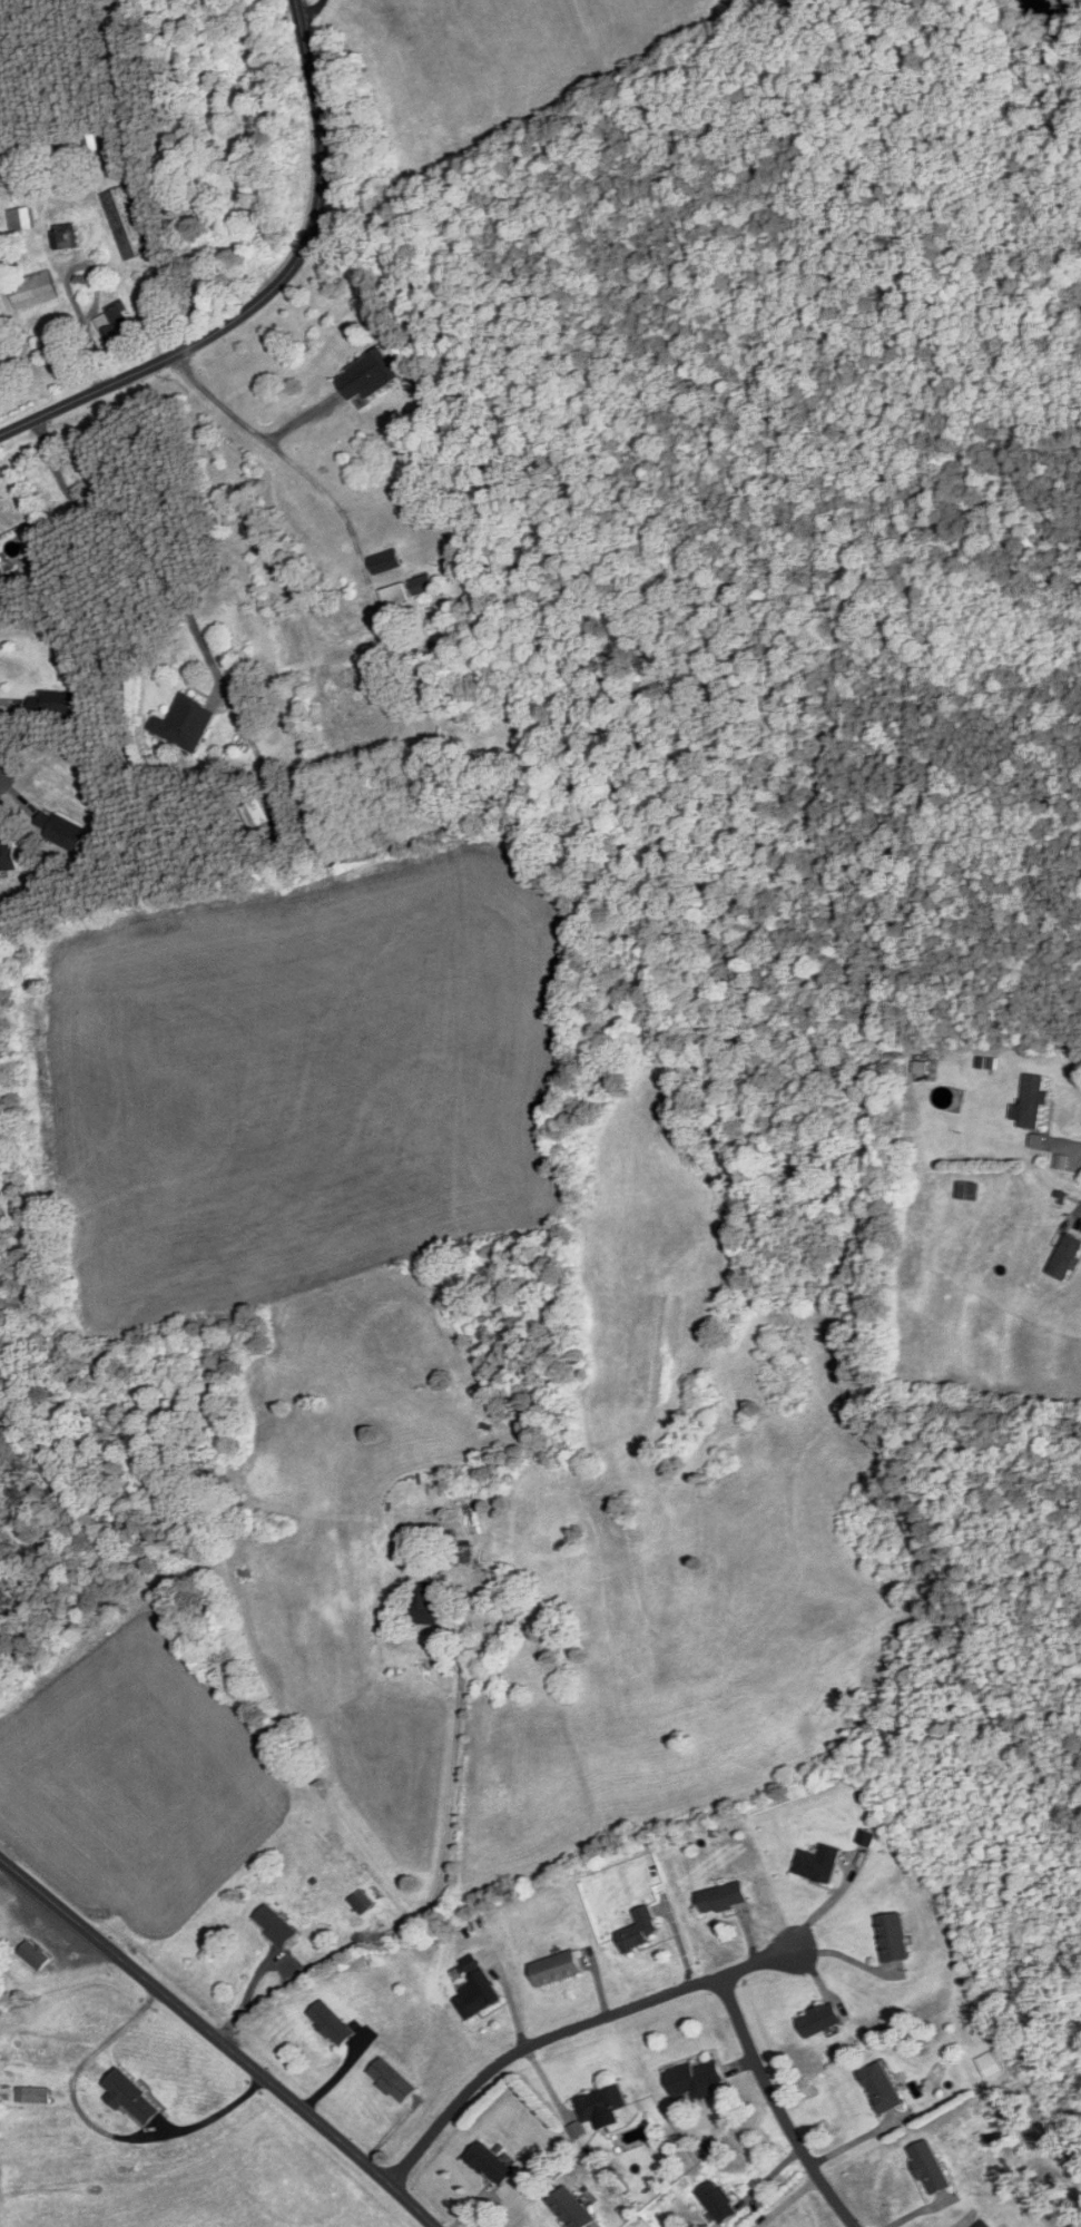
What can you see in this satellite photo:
road: (307, 12)
building: (94, 145)
building: (59, 154)
building: (21, 219)
building: (127, 223)
building: (66, 237)
building: (35, 291)
road: (268, 291)
building: (118, 325)
building: (368, 376)
road: (281, 457)
road: (151, 528)
building: (386, 561)
building: (1, 571)
building: (423, 585)
building: (395, 596)
building: (56, 704)
building: (186, 725)
building: (257, 814)
building: (62, 832)
building: (285, 835)
building: (8, 857)
building: (1034, 1102)
building: (967, 1193)
building: (1067, 1259)
building: (430, 1603)
building: (819, 1864)
road: (435, 1893)
building: (724, 1899)
building: (362, 1902)
building: (276, 1925)
building: (640, 1931)
building: (894, 1937)
building: (36, 1955)
building: (558, 1969)
building: (480, 1997)
building: (820, 2020)
building: (333, 2023)
road: (570, 2031)
road: (218, 2041)
building: (696, 2079)
building: (393, 2081)
building: (883, 2088)
building: (35, 2096)
building: (130, 2097)
building: (602, 2103)
road: (779, 2106)
building: (491, 2165)
building: (931, 2168)
building: (719, 2203)
building: (572, 2209)
building: (986, 2224)

